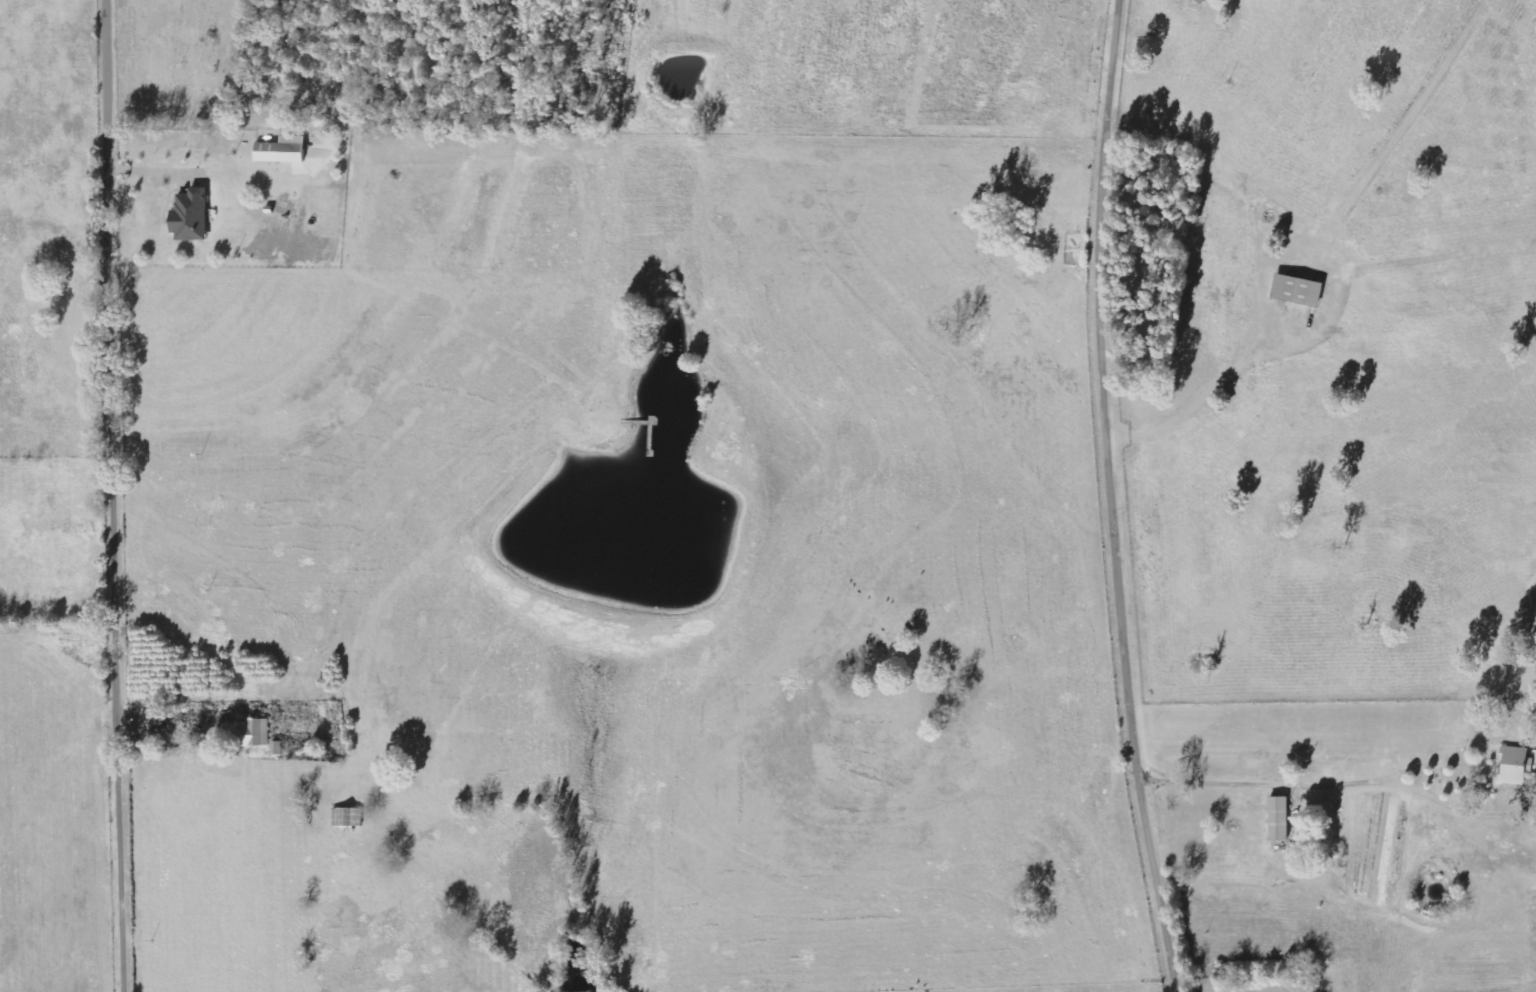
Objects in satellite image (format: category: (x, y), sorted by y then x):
building: (281, 153)
building: (193, 216)
building: (1300, 291)
road: (120, 496)
road: (1120, 497)
building: (255, 733)
building: (277, 748)
building: (1516, 766)
building: (348, 819)
building: (1281, 819)

